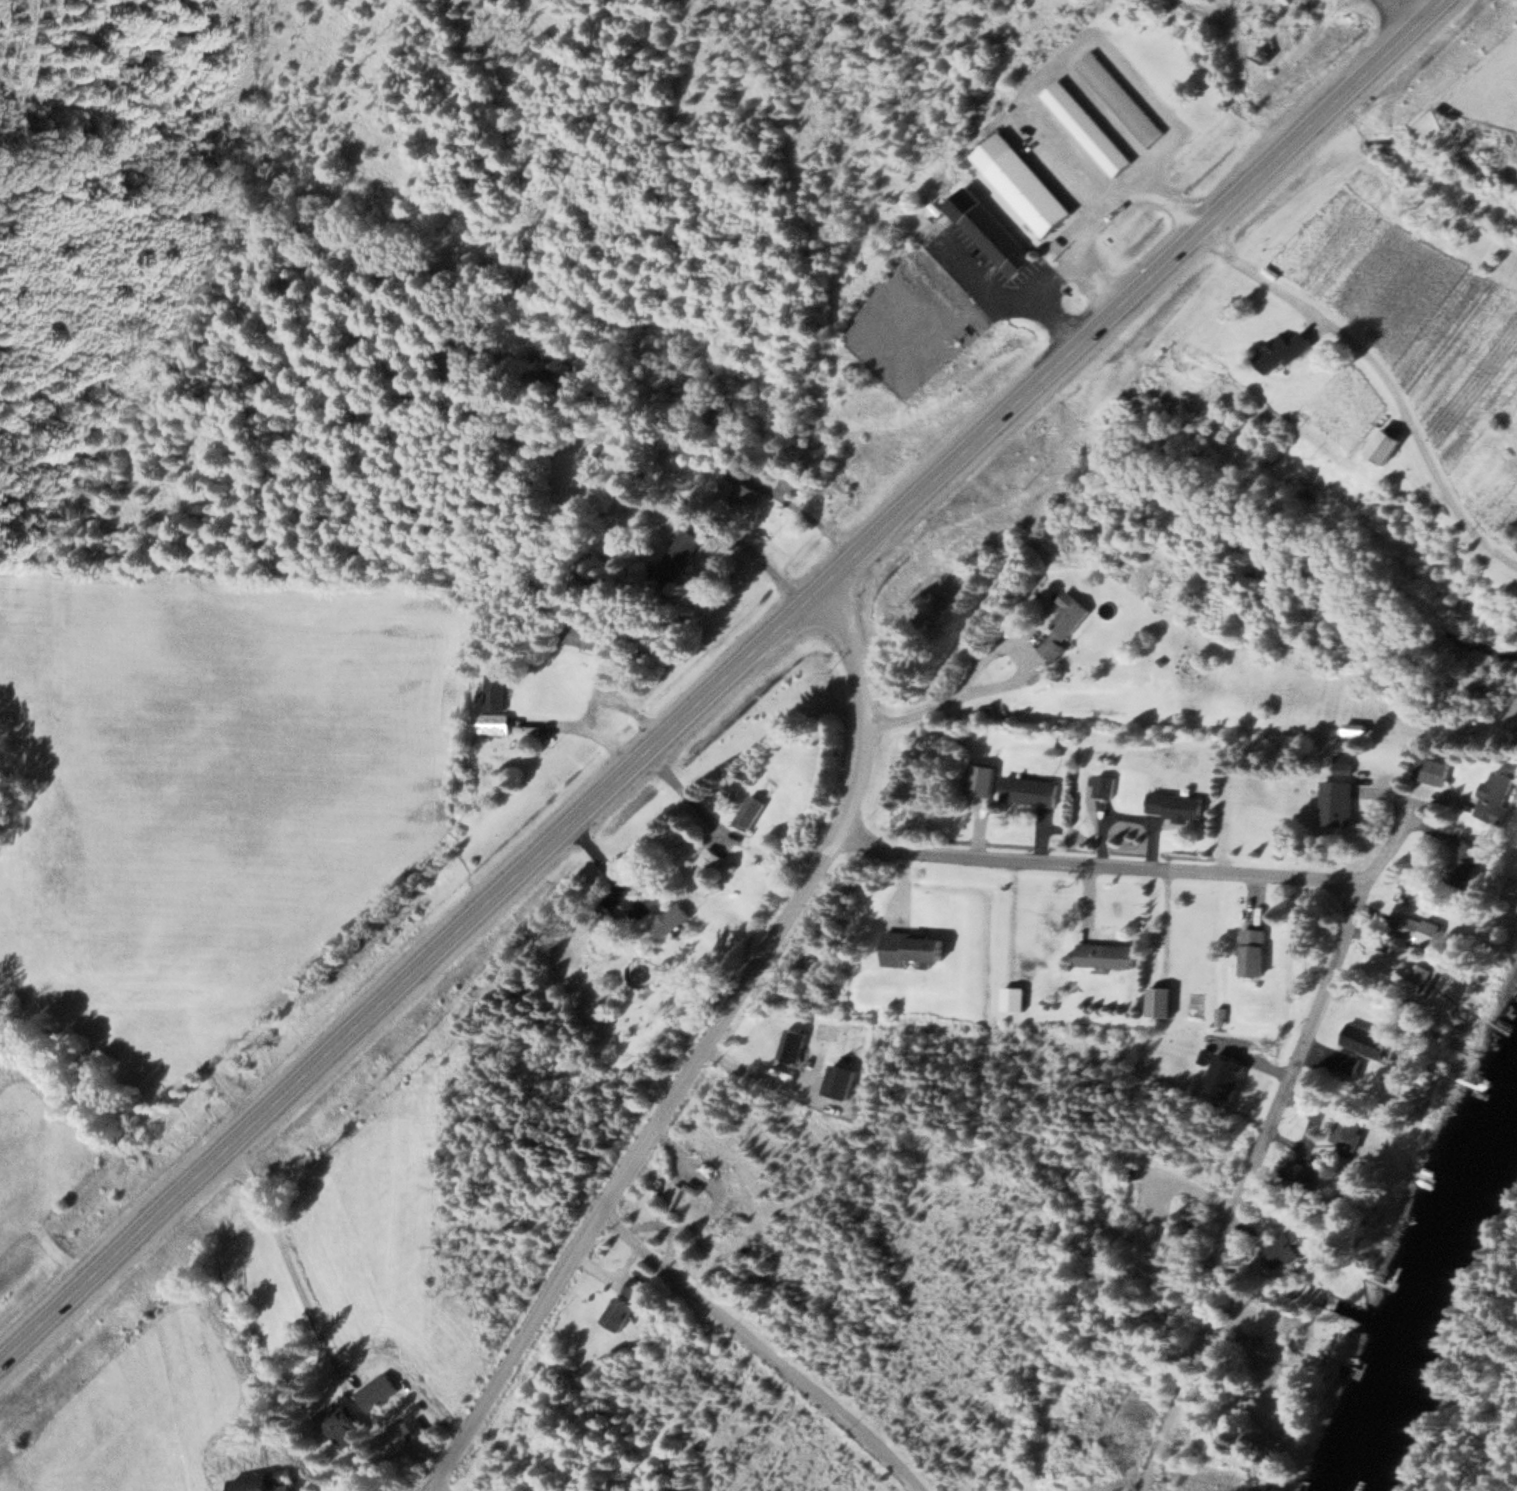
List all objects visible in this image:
building: (1119, 97)
building: (1088, 127)
building: (1025, 184)
building: (990, 230)
building: (1281, 351)
road: (1389, 354)
building: (1384, 444)
building: (744, 490)
building: (674, 558)
building: (1064, 623)
building: (579, 635)
road: (728, 679)
building: (494, 690)
road: (864, 708)
building: (494, 722)
building: (1357, 727)
building: (1433, 770)
building: (980, 779)
building: (1102, 783)
building: (1028, 789)
building: (1499, 797)
building: (1336, 802)
building: (1173, 805)
building: (750, 809)
building: (707, 861)
road: (1100, 863)
building: (1465, 863)
building: (672, 919)
building: (608, 921)
building: (1416, 926)
building: (1376, 938)
building: (910, 948)
building: (1252, 951)
building: (1104, 954)
building: (1416, 975)
building: (1011, 996)
building: (1158, 1000)
road: (1302, 1029)
building: (1368, 1040)
building: (791, 1044)
building: (1346, 1061)
building: (840, 1080)
building: (1349, 1127)
road: (629, 1161)
building: (673, 1197)
building: (1290, 1245)
road: (287, 1251)
river: (1431, 1301)
building: (624, 1304)
road: (762, 1347)
building: (377, 1390)
road: (1175, 1392)
building: (342, 1420)
building: (415, 1428)
building: (265, 1481)
road: (433, 1486)

